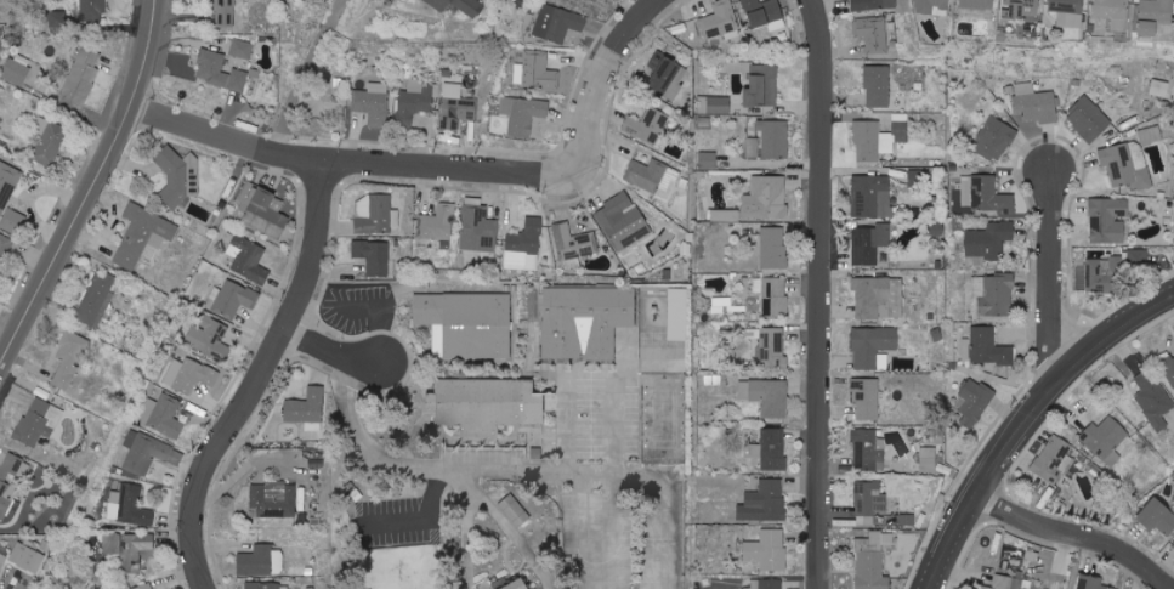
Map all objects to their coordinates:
building: (873, 4)
building: (930, 5)
building: (459, 6)
building: (977, 9)
building: (1015, 9)
building: (93, 11)
building: (225, 12)
building: (1068, 12)
building: (1112, 12)
building: (765, 13)
building: (1155, 18)
building: (720, 19)
building: (557, 23)
building: (0, 29)
building: (872, 33)
building: (242, 49)
building: (211, 68)
building: (535, 70)
building: (16, 72)
road: (302, 74)
building: (83, 75)
building: (668, 75)
building: (244, 80)
building: (758, 81)
building: (878, 85)
building: (1159, 87)
building: (414, 101)
building: (373, 103)
building: (1034, 103)
building: (715, 104)
building: (455, 107)
building: (523, 114)
building: (1089, 118)
building: (646, 125)
building: (900, 126)
building: (1151, 135)
building: (776, 138)
building: (996, 138)
building: (872, 141)
building: (51, 143)
building: (752, 147)
building: (708, 159)
building: (1127, 165)
road: (448, 170)
building: (177, 177)
building: (653, 177)
road: (89, 187)
building: (983, 194)
building: (872, 196)
building: (10, 197)
building: (766, 197)
building: (262, 210)
building: (375, 214)
building: (726, 215)
building: (623, 220)
building: (1108, 220)
building: (438, 223)
building: (480, 232)
building: (143, 237)
building: (988, 242)
building: (869, 243)
building: (575, 244)
building: (523, 247)
building: (4, 248)
building: (773, 249)
building: (374, 255)
building: (249, 259)
building: (1138, 259)
building: (1105, 276)
road: (1057, 281)
road: (826, 294)
building: (994, 295)
building: (233, 298)
building: (775, 298)
building: (879, 298)
building: (97, 299)
road: (378, 311)
building: (677, 313)
building: (586, 321)
building: (466, 323)
building: (210, 339)
building: (772, 346)
road: (336, 347)
building: (874, 347)
building: (989, 347)
building: (69, 358)
building: (1169, 369)
building: (189, 375)
road: (260, 378)
building: (767, 396)
building: (867, 398)
building: (1153, 400)
building: (975, 401)
building: (489, 404)
building: (307, 409)
building: (163, 417)
building: (39, 421)
road: (569, 425)
road: (1030, 427)
building: (1105, 440)
building: (773, 448)
building: (868, 449)
building: (148, 454)
building: (312, 459)
building: (1054, 459)
building: (929, 460)
building: (13, 466)
road: (510, 472)
building: (6, 498)
building: (274, 499)
road: (617, 502)
building: (765, 502)
building: (869, 502)
building: (129, 506)
building: (517, 510)
building: (1158, 516)
road: (1079, 534)
building: (1173, 545)
building: (130, 548)
building: (769, 550)
building: (27, 557)
building: (1, 560)
building: (262, 561)
building: (872, 561)
building: (516, 583)
building: (1006, 583)
building: (1091, 583)
building: (488, 584)
building: (766, 584)
building: (267, 585)
building: (144, 587)

